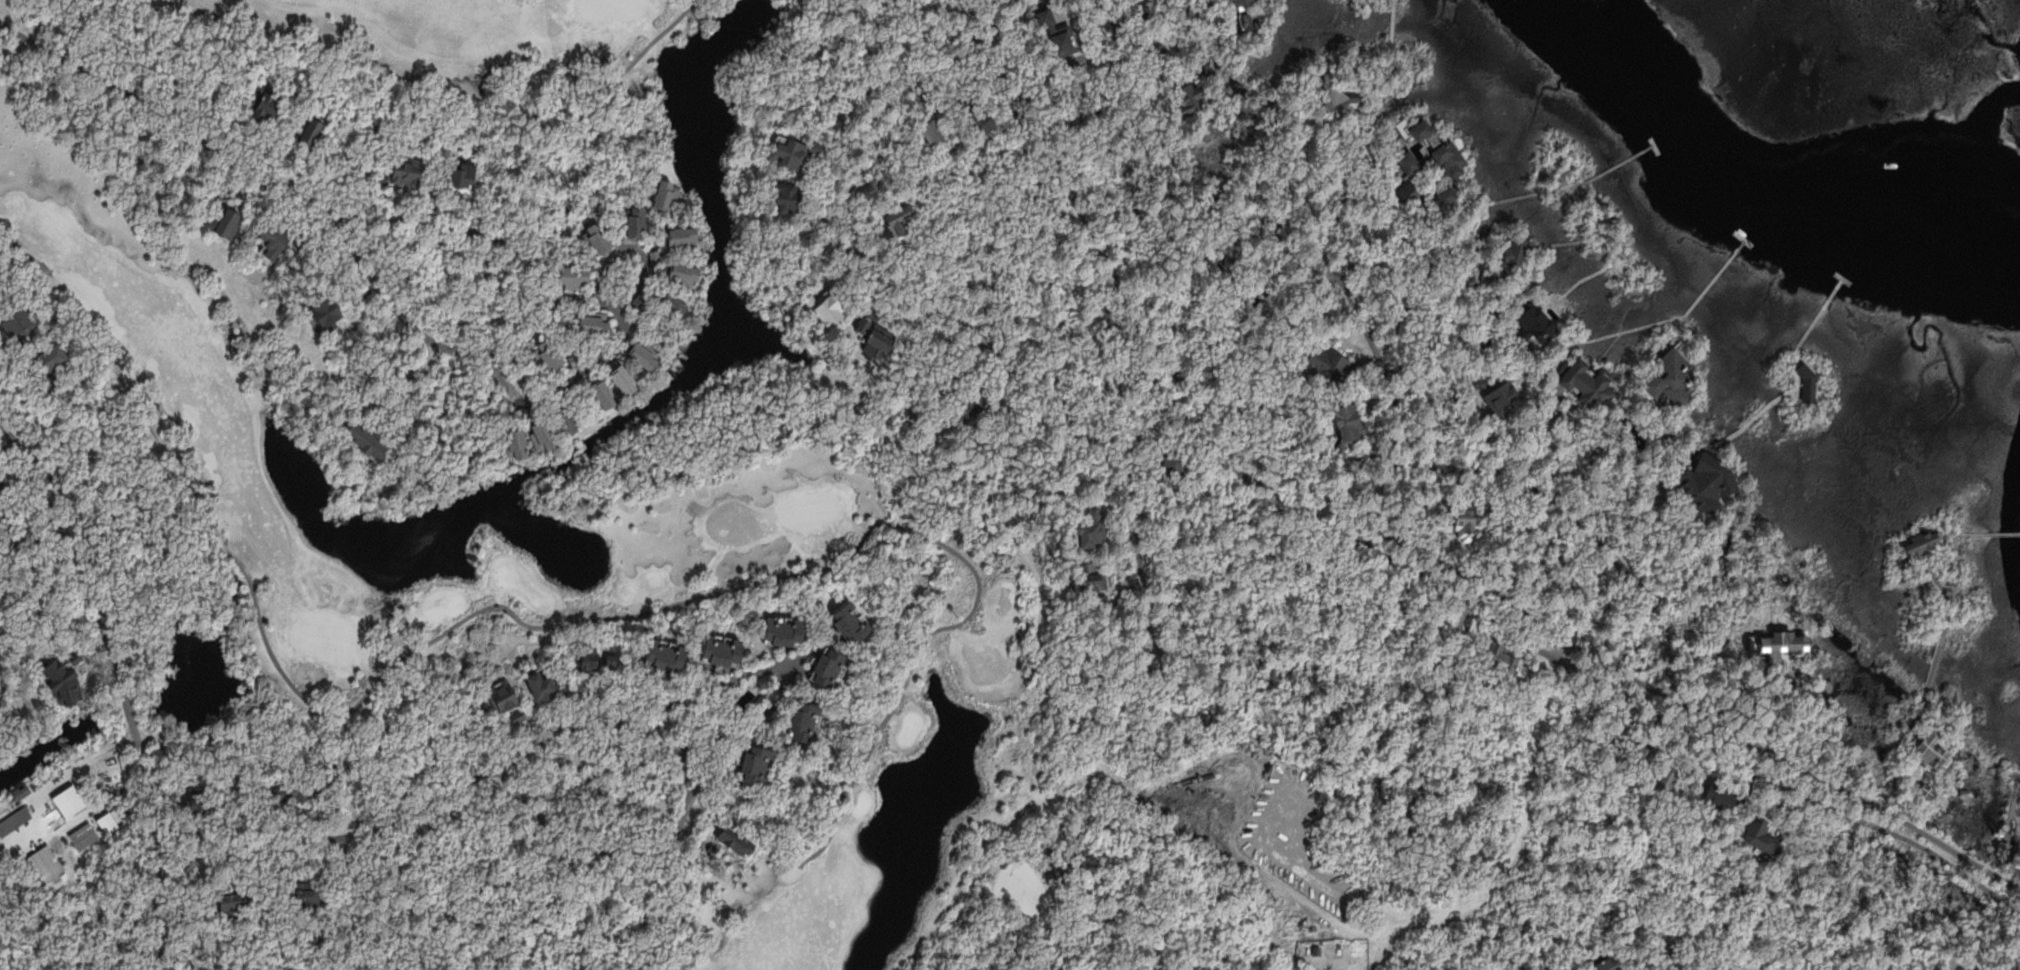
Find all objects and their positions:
building: (1240, 4)
building: (1260, 16)
building: (1059, 32)
road: (1113, 35)
road: (1130, 59)
building: (1335, 98)
building: (1191, 99)
building: (264, 104)
building: (985, 118)
road: (170, 119)
building: (237, 120)
building: (306, 127)
building: (937, 128)
building: (1423, 128)
building: (796, 151)
building: (1449, 157)
building: (1413, 160)
building: (406, 173)
building: (464, 174)
building: (1406, 187)
building: (438, 189)
road: (849, 190)
building: (667, 194)
building: (789, 197)
building: (1447, 197)
building: (901, 220)
building: (637, 222)
building: (227, 223)
building: (605, 237)
building: (683, 238)
building: (275, 241)
building: (303, 246)
road: (636, 247)
building: (1516, 252)
building: (656, 257)
building: (576, 275)
building: (685, 275)
building: (1488, 278)
building: (642, 297)
building: (670, 306)
building: (831, 306)
building: (329, 312)
road: (517, 317)
building: (22, 321)
building: (1538, 322)
building: (864, 323)
building: (595, 324)
building: (683, 339)
building: (1484, 344)
building: (881, 346)
building: (644, 352)
building: (549, 355)
road: (602, 359)
building: (50, 361)
building: (1329, 363)
building: (1671, 376)
building: (628, 378)
building: (1481, 381)
building: (1809, 382)
road: (1397, 388)
building: (603, 397)
building: (1501, 399)
building: (505, 401)
building: (975, 405)
building: (525, 411)
building: (569, 417)
building: (1349, 423)
building: (543, 432)
building: (369, 439)
building: (518, 443)
building: (1177, 462)
building: (1710, 483)
building: (3, 484)
road: (1537, 492)
road: (1136, 500)
building: (1432, 508)
building: (1470, 518)
building: (1089, 531)
building: (6, 535)
building: (28, 538)
building: (1925, 541)
road: (1402, 544)
road: (1385, 563)
building: (1904, 563)
building: (1091, 577)
road: (1947, 595)
building: (851, 623)
building: (784, 631)
road: (1459, 646)
building: (721, 649)
building: (668, 655)
building: (590, 658)
building: (613, 660)
building: (1503, 661)
road: (1934, 666)
building: (831, 668)
building: (63, 676)
road: (120, 676)
building: (540, 685)
building: (502, 695)
road: (716, 713)
building: (517, 716)
building: (805, 723)
road: (568, 733)
building: (1645, 750)
building: (1932, 751)
road: (1894, 759)
building: (758, 765)
building: (1667, 779)
building: (21, 790)
building: (297, 790)
building: (1929, 790)
building: (1726, 797)
building: (203, 801)
building: (14, 820)
building: (1764, 835)
building: (737, 839)
building: (712, 851)
building: (2004, 851)
building: (1, 858)
building: (1069, 858)
building: (0, 861)
building: (2019, 862)
building: (44, 863)
road: (350, 870)
building: (1264, 896)
building: (308, 898)
building: (226, 907)
road: (1105, 910)
road: (1372, 931)
building: (322, 937)
building: (1362, 941)
building: (1318, 949)
building: (1601, 964)
building: (1979, 969)
building: (1981, 969)

